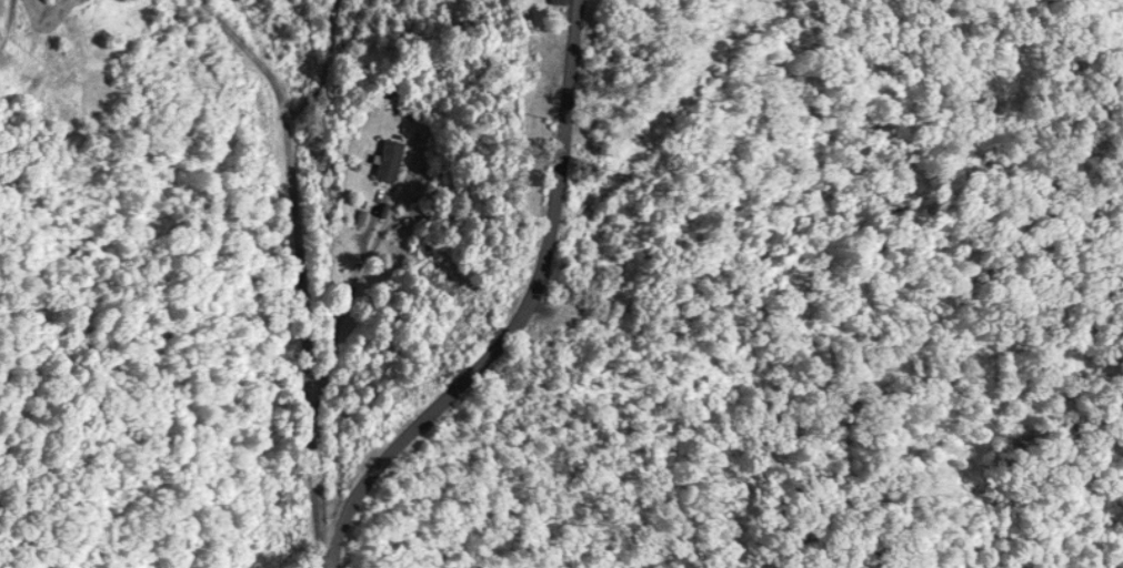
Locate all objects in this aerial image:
road: (219, 51)
building: (388, 164)
road: (293, 252)
road: (533, 276)
road: (338, 528)

